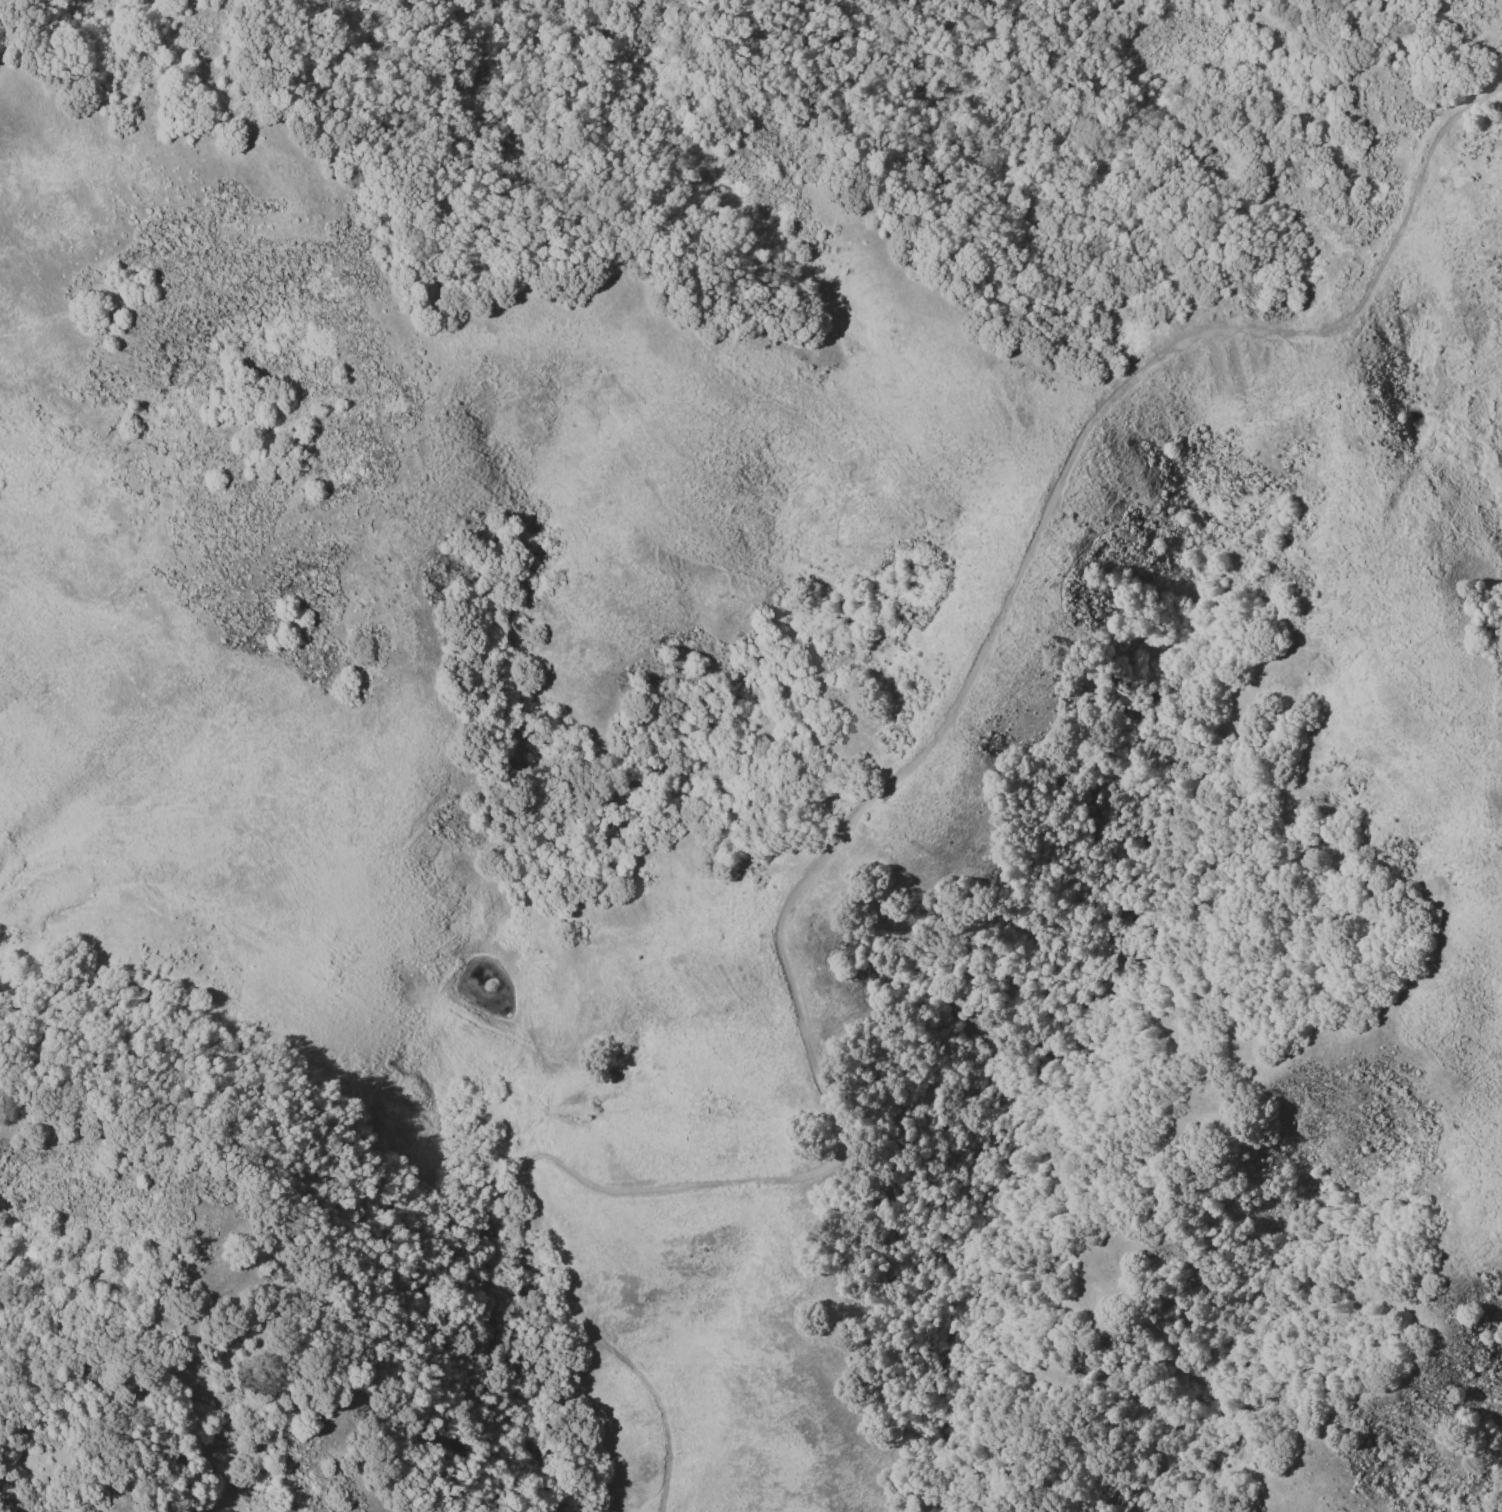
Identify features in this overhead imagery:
road: (846, 841)

